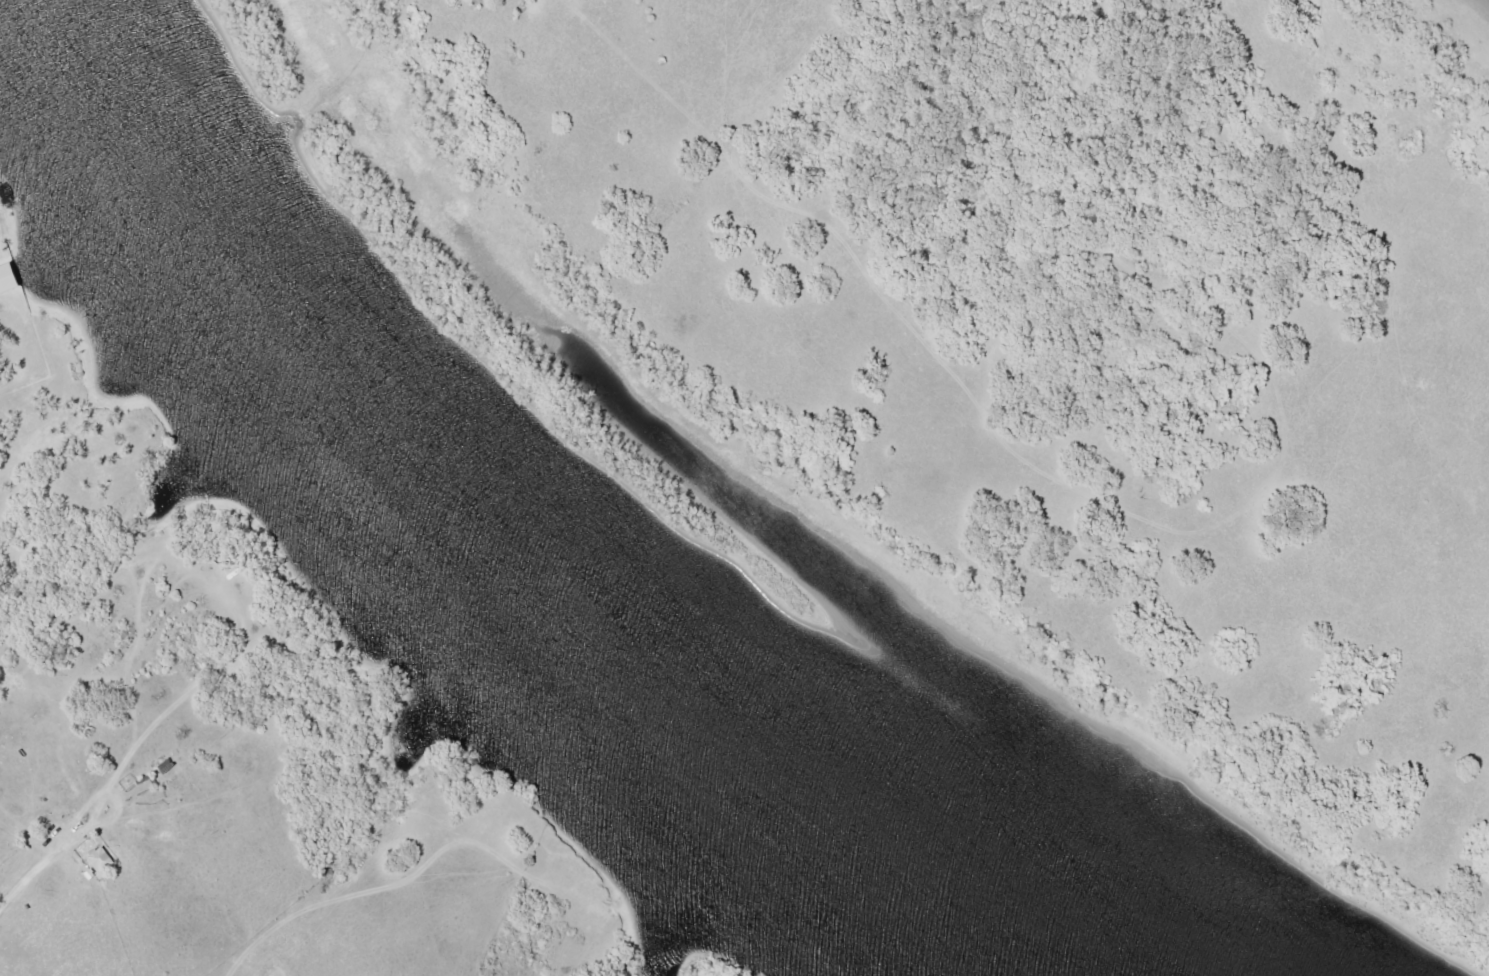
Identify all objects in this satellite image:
river: (477, 557)
road: (67, 843)
building: (104, 858)

